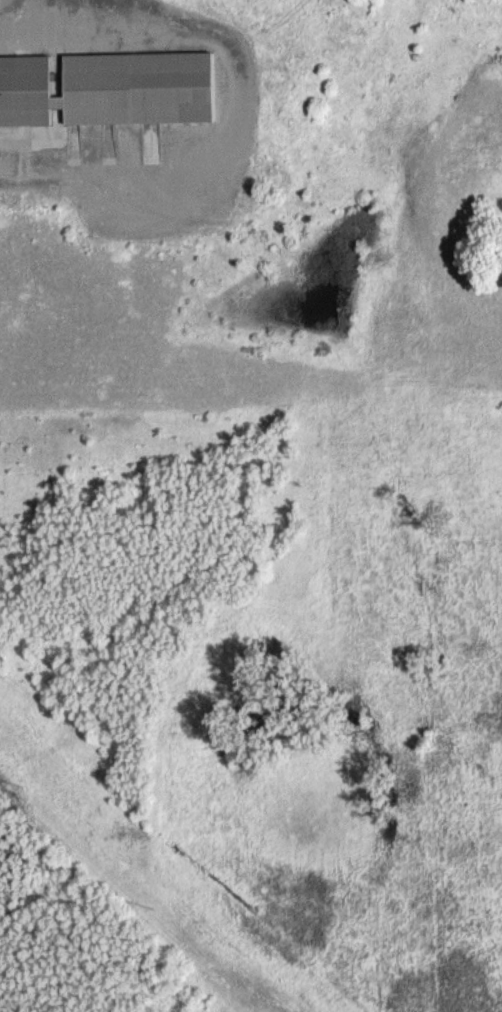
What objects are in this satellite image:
building: (105, 87)

